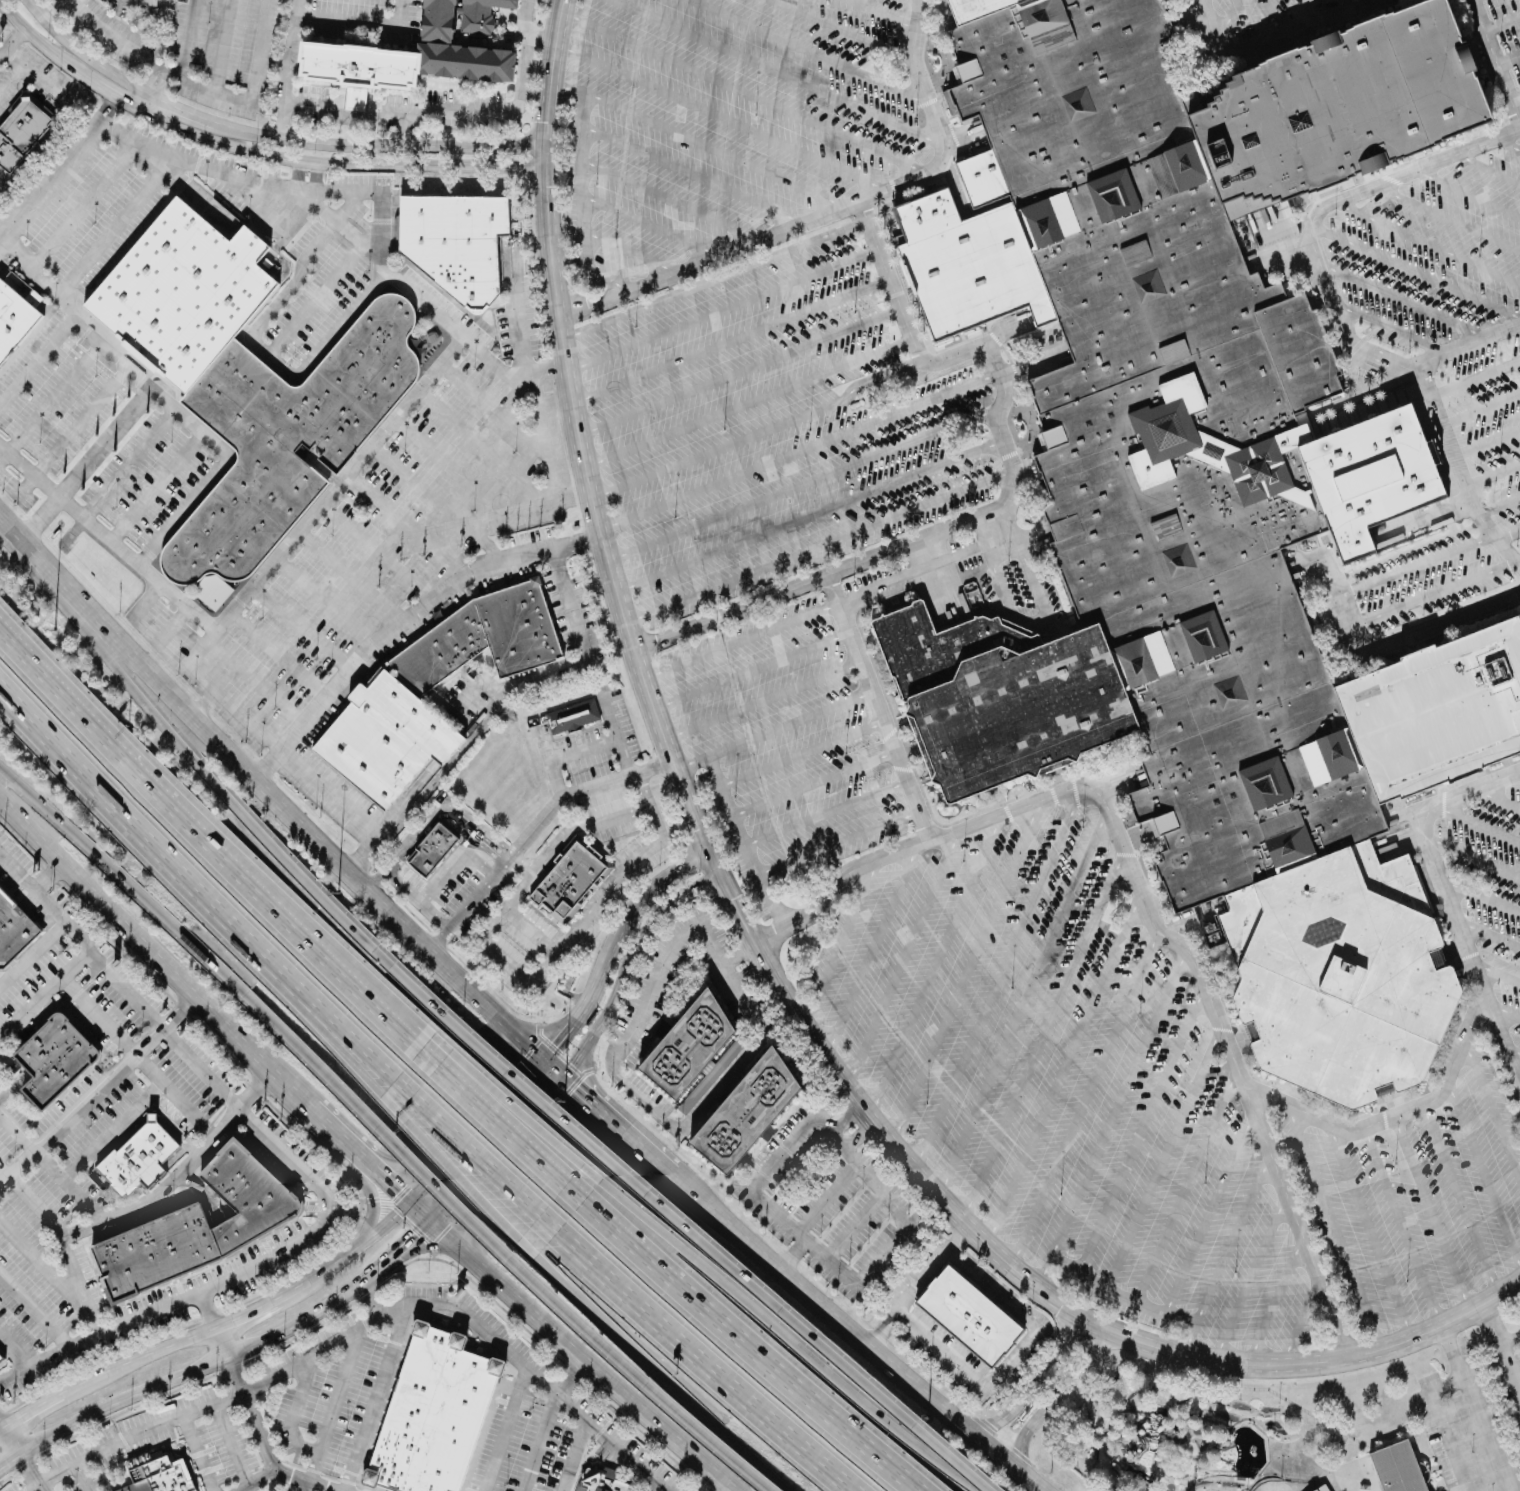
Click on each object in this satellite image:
building: (181, 0)
road: (0, 2)
building: (135, 2)
road: (33, 4)
road: (1345, 6)
road: (1202, 7)
road: (299, 8)
building: (968, 10)
road: (887, 14)
road: (1306, 14)
road: (298, 21)
road: (525, 21)
road: (1501, 22)
road: (1264, 23)
road: (1227, 25)
road: (844, 28)
road: (1270, 40)
road: (194, 41)
road: (14, 45)
road: (46, 46)
road: (222, 46)
building: (449, 46)
road: (813, 52)
road: (94, 60)
road: (1508, 60)
road: (1495, 63)
building: (360, 64)
road: (28, 65)
road: (780, 73)
road: (206, 89)
road: (736, 89)
road: (160, 91)
road: (1515, 98)
road: (123, 101)
building: (1330, 106)
road: (448, 111)
road: (716, 111)
building: (21, 131)
road: (701, 144)
road: (1506, 145)
road: (349, 156)
road: (59, 168)
road: (1487, 168)
road: (689, 172)
road: (1467, 192)
road: (581, 193)
road: (677, 201)
road: (85, 203)
road: (380, 204)
road: (330, 217)
road: (1447, 217)
road: (833, 221)
road: (657, 228)
road: (107, 235)
building: (456, 242)
road: (1427, 242)
road: (636, 252)
road: (34, 269)
road: (600, 273)
road: (1419, 273)
road: (1406, 302)
road: (722, 310)
building: (14, 322)
road: (521, 328)
road: (1393, 328)
road: (730, 338)
road: (1469, 344)
road: (273, 349)
road: (1381, 355)
road: (995, 365)
road: (739, 370)
road: (538, 373)
road: (1475, 377)
building: (248, 382)
road: (165, 396)
road: (50, 401)
road: (748, 401)
road: (1481, 408)
road: (496, 410)
road: (1441, 423)
road: (70, 430)
road: (759, 432)
road: (1487, 441)
road: (488, 447)
road: (798, 451)
road: (86, 462)
road: (129, 463)
road: (454, 466)
building: (1146, 468)
road: (1492, 473)
road: (155, 485)
road: (801, 485)
road: (427, 491)
road: (547, 505)
road: (1499, 507)
road: (809, 516)
road: (408, 524)
road: (1506, 538)
road: (819, 544)
road: (380, 551)
road: (1503, 552)
road: (928, 569)
road: (353, 575)
road: (818, 576)
road: (248, 596)
road: (325, 601)
road: (145, 602)
road: (570, 606)
road: (403, 620)
road: (302, 625)
road: (171, 627)
road: (742, 641)
road: (279, 654)
road: (224, 669)
road: (752, 669)
road: (265, 691)
building: (386, 693)
road: (763, 699)
road: (881, 707)
building: (1438, 711)
road: (244, 717)
building: (572, 717)
road: (774, 729)
road: (581, 750)
road: (458, 753)
road: (803, 753)
road: (622, 757)
road: (548, 764)
road: (713, 770)
road: (1517, 771)
road: (815, 783)
road: (224, 789)
road: (328, 794)
road: (1497, 798)
road: (278, 802)
road: (827, 811)
road: (429, 816)
road: (1479, 821)
road: (136, 822)
road: (206, 839)
road: (840, 843)
road: (516, 847)
building: (431, 850)
road: (457, 856)
road: (752, 857)
road: (1471, 859)
road: (52, 880)
building: (568, 880)
road: (1443, 887)
road: (1140, 889)
road: (684, 893)
road: (599, 897)
road: (416, 899)
road: (1480, 899)
building: (13, 931)
road: (759, 933)
road: (1489, 935)
road: (190, 944)
road: (611, 944)
road: (871, 949)
road: (32, 954)
road: (153, 954)
road: (905, 958)
road: (935, 964)
road: (967, 970)
road: (1497, 972)
road: (1000, 976)
building: (1339, 979)
road: (44, 994)
road: (612, 1002)
road: (1022, 1002)
road: (1507, 1014)
road: (333, 1017)
road: (326, 1028)
road: (168, 1033)
road: (1045, 1035)
road: (626, 1043)
traffic signals: (555, 1044)
building: (687, 1047)
road: (1516, 1054)
road: (136, 1057)
building: (53, 1060)
road: (1065, 1066)
road: (96, 1090)
traffic signals: (572, 1091)
road: (255, 1092)
road: (528, 1092)
road: (574, 1093)
road: (1086, 1094)
traffic signals: (548, 1096)
road: (457, 1104)
road: (500, 1105)
road: (1492, 1107)
building: (746, 1113)
road: (1113, 1113)
road: (492, 1115)
road: (1399, 1115)
road: (1141, 1125)
road: (112, 1131)
road: (474, 1131)
road: (341, 1139)
road: (628, 1140)
road: (469, 1145)
road: (496, 1151)
road: (1165, 1153)
building: (138, 1159)
road: (50, 1166)
road: (5, 1167)
road: (448, 1169)
road: (1483, 1169)
road: (509, 1170)
road: (1188, 1180)
road: (389, 1185)
traffic signals: (422, 1187)
road: (438, 1190)
traffic signals: (398, 1193)
road: (825, 1196)
building: (244, 1199)
road: (1462, 1199)
road: (379, 1200)
road: (1212, 1204)
road: (34, 1207)
road: (400, 1210)
road: (115, 1213)
road: (1434, 1216)
road: (854, 1224)
road: (1405, 1227)
road: (1335, 1231)
road: (1372, 1232)
traffic signals: (417, 1236)
road: (413, 1238)
road: (815, 1250)
building: (155, 1254)
road: (1226, 1254)
road: (793, 1256)
road: (43, 1267)
road: (1248, 1279)
road: (921, 1285)
road: (1121, 1294)
road: (370, 1299)
road: (1275, 1301)
road: (163, 1305)
road: (34, 1310)
road: (206, 1311)
building: (969, 1317)
road: (790, 1319)
road: (1301, 1322)
road: (1497, 1325)
road: (780, 1330)
road: (202, 1334)
road: (854, 1334)
road: (743, 1339)
road: (222, 1344)
road: (567, 1346)
road: (1458, 1348)
road: (15, 1350)
road: (705, 1352)
road: (1510, 1354)
road: (1091, 1355)
building: (0, 1359)
road: (302, 1361)
road: (1012, 1361)
road: (652, 1363)
road: (201, 1368)
road: (631, 1374)
road: (569, 1376)
road: (1030, 1391)
road: (376, 1397)
road: (336, 1406)
road: (293, 1412)
building: (433, 1413)
road: (1443, 1423)
road: (1031, 1425)
road: (1, 1426)
road: (506, 1429)
road: (1491, 1430)
road: (11, 1442)
road: (540, 1442)
road: (613, 1442)
road: (232, 1443)
road: (260, 1443)
road: (198, 1452)
road: (573, 1455)
road: (1314, 1466)
building: (1397, 1468)
road: (32, 1473)
building: (158, 1473)
road: (82, 1477)
building: (601, 1480)
road: (255, 1481)
road: (1338, 1481)
road: (653, 1485)
building: (1321, 1489)

